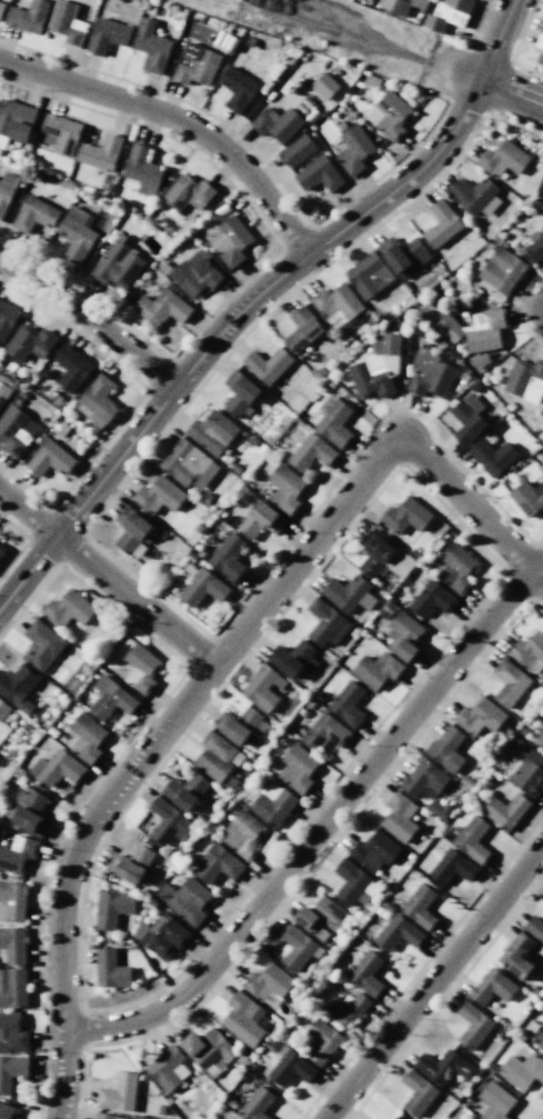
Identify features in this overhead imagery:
building: (395, 6)
building: (1, 8)
building: (450, 13)
building: (28, 17)
building: (67, 22)
building: (541, 29)
building: (108, 34)
building: (540, 42)
building: (151, 47)
building: (540, 58)
building: (195, 64)
building: (323, 86)
building: (237, 89)
road: (511, 92)
building: (389, 116)
building: (16, 120)
road: (179, 122)
building: (278, 123)
building: (60, 133)
building: (354, 149)
building: (298, 151)
building: (100, 153)
building: (503, 159)
building: (142, 170)
building: (319, 174)
building: (541, 188)
building: (6, 191)
building: (188, 193)
building: (475, 196)
building: (34, 214)
building: (442, 224)
building: (76, 234)
building: (230, 240)
building: (535, 249)
building: (404, 256)
building: (118, 264)
building: (502, 270)
building: (195, 274)
building: (369, 276)
road: (258, 299)
building: (338, 302)
building: (162, 307)
building: (7, 319)
road: (91, 321)
building: (302, 329)
building: (476, 330)
building: (29, 342)
building: (386, 343)
building: (267, 364)
building: (71, 368)
building: (431, 374)
building: (374, 376)
building: (525, 380)
building: (3, 392)
building: (240, 392)
building: (97, 401)
building: (467, 419)
building: (334, 421)
building: (16, 430)
building: (212, 432)
building: (312, 452)
building: (493, 457)
building: (50, 459)
building: (189, 464)
building: (285, 488)
building: (160, 498)
building: (527, 498)
road: (471, 512)
building: (405, 516)
building: (261, 520)
building: (131, 529)
building: (1, 549)
building: (382, 556)
building: (229, 557)
building: (459, 568)
road: (109, 580)
building: (203, 588)
building: (349, 593)
building: (431, 599)
building: (69, 609)
building: (326, 623)
building: (404, 636)
building: (42, 645)
building: (530, 652)
building: (293, 659)
building: (142, 668)
building: (375, 670)
building: (509, 682)
building: (19, 687)
building: (264, 688)
building: (111, 699)
building: (348, 703)
building: (2, 715)
building: (480, 717)
building: (238, 725)
building: (324, 732)
building: (86, 737)
building: (540, 740)
building: (446, 748)
road: (152, 750)
building: (214, 756)
building: (58, 768)
building: (298, 768)
building: (529, 775)
building: (424, 779)
building: (184, 790)
building: (273, 805)
building: (505, 810)
building: (28, 811)
building: (399, 817)
building: (167, 822)
road: (323, 830)
building: (243, 833)
building: (472, 839)
building: (374, 850)
building: (18, 853)
building: (131, 863)
building: (218, 865)
building: (452, 867)
building: (353, 883)
building: (185, 899)
building: (14, 900)
building: (420, 906)
building: (112, 908)
building: (320, 918)
building: (534, 928)
building: (398, 933)
building: (161, 937)
building: (13, 945)
building: (296, 948)
building: (517, 956)
building: (110, 969)
building: (366, 972)
building: (268, 982)
road: (436, 987)
building: (493, 987)
building: (12, 988)
building: (346, 1009)
building: (245, 1019)
building: (473, 1025)
building: (12, 1032)
building: (537, 1038)
building: (322, 1041)
building: (209, 1048)
building: (291, 1067)
building: (443, 1067)
building: (168, 1068)
building: (11, 1070)
building: (521, 1070)
building: (119, 1092)
building: (418, 1092)
building: (495, 1101)
building: (257, 1103)
building: (7, 1111)
building: (107, 1116)

